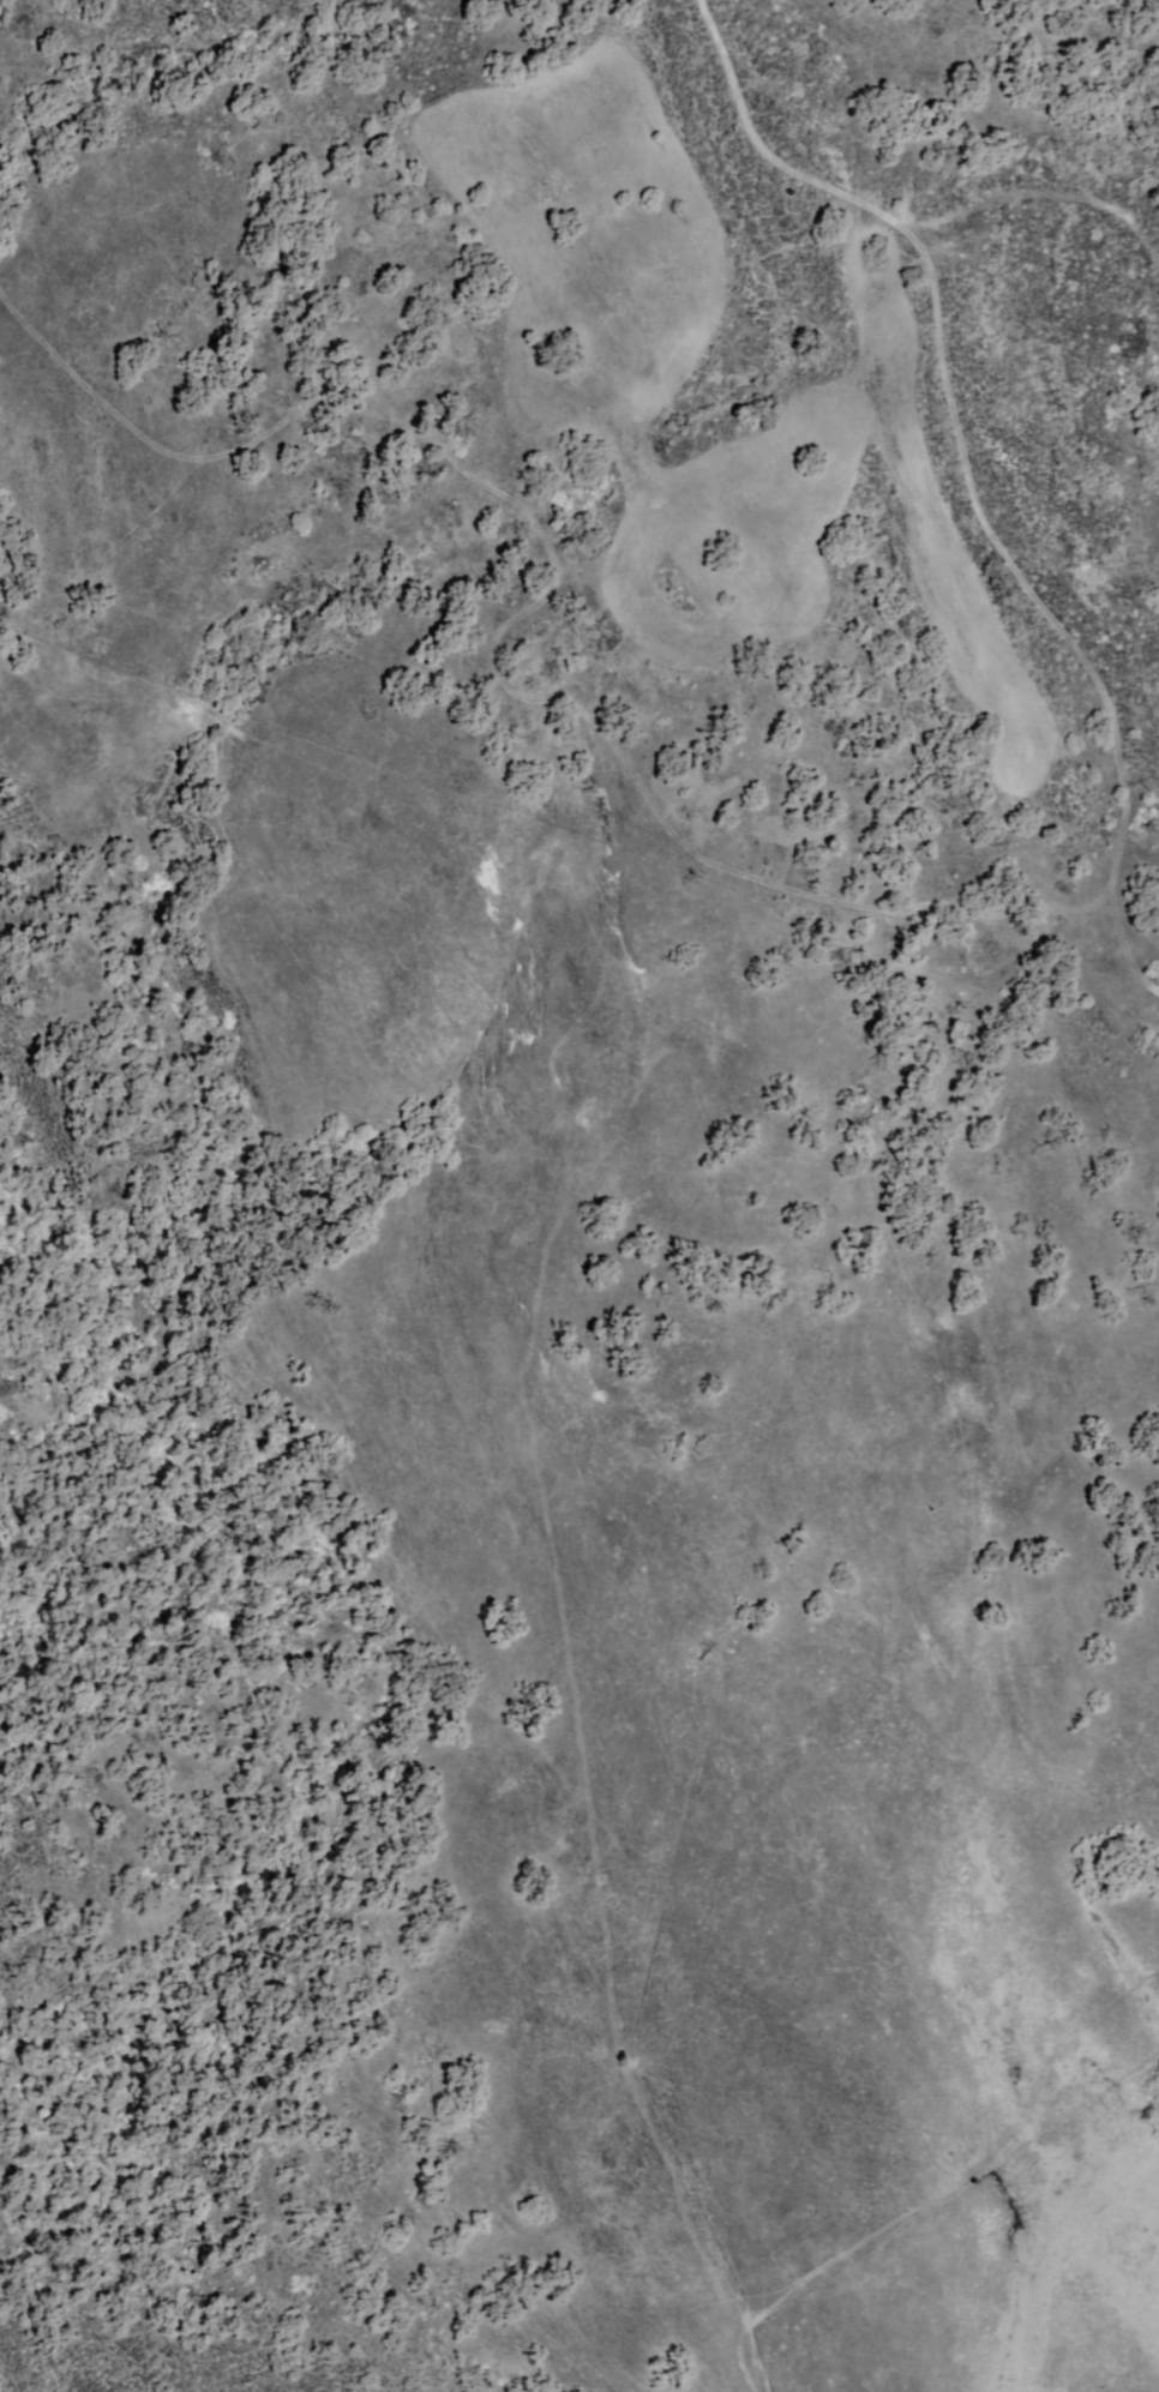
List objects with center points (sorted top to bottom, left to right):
road: (1123, 847)

